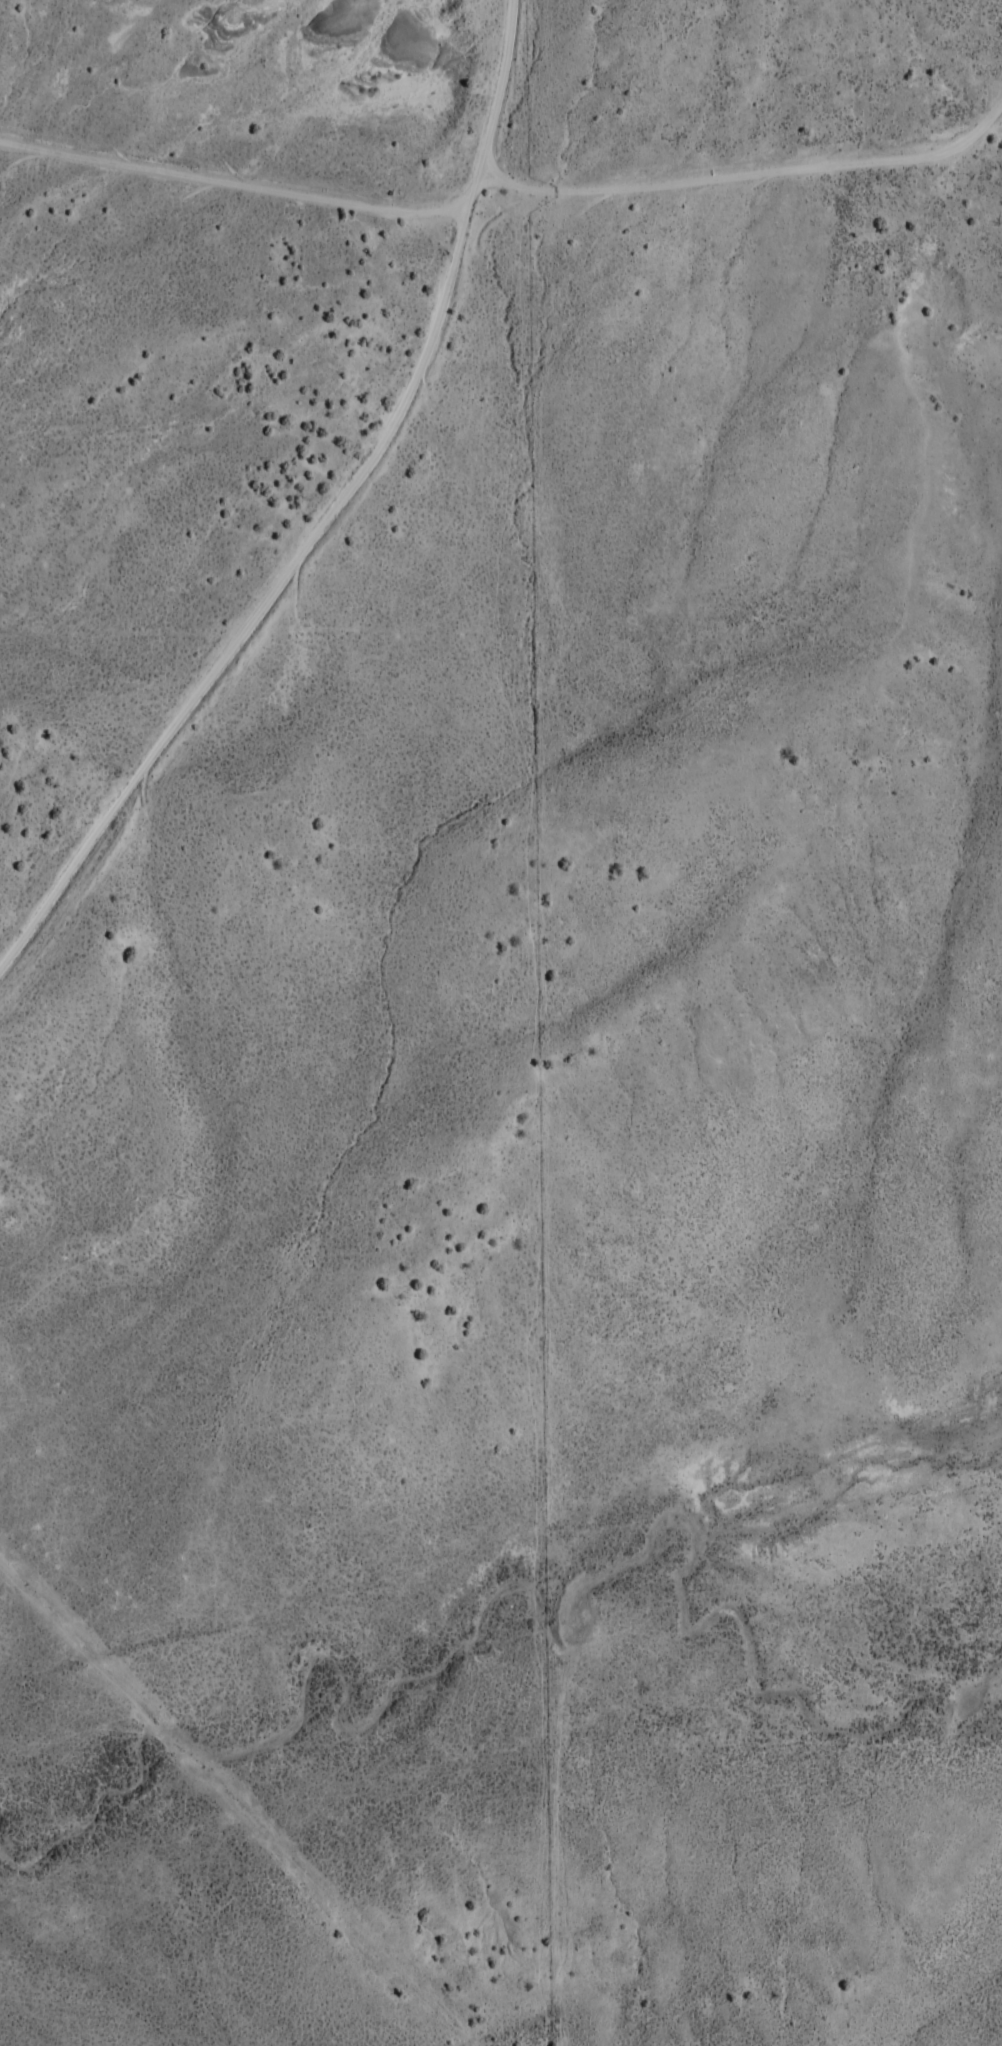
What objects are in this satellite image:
road: (327, 519)
river: (525, 1605)

